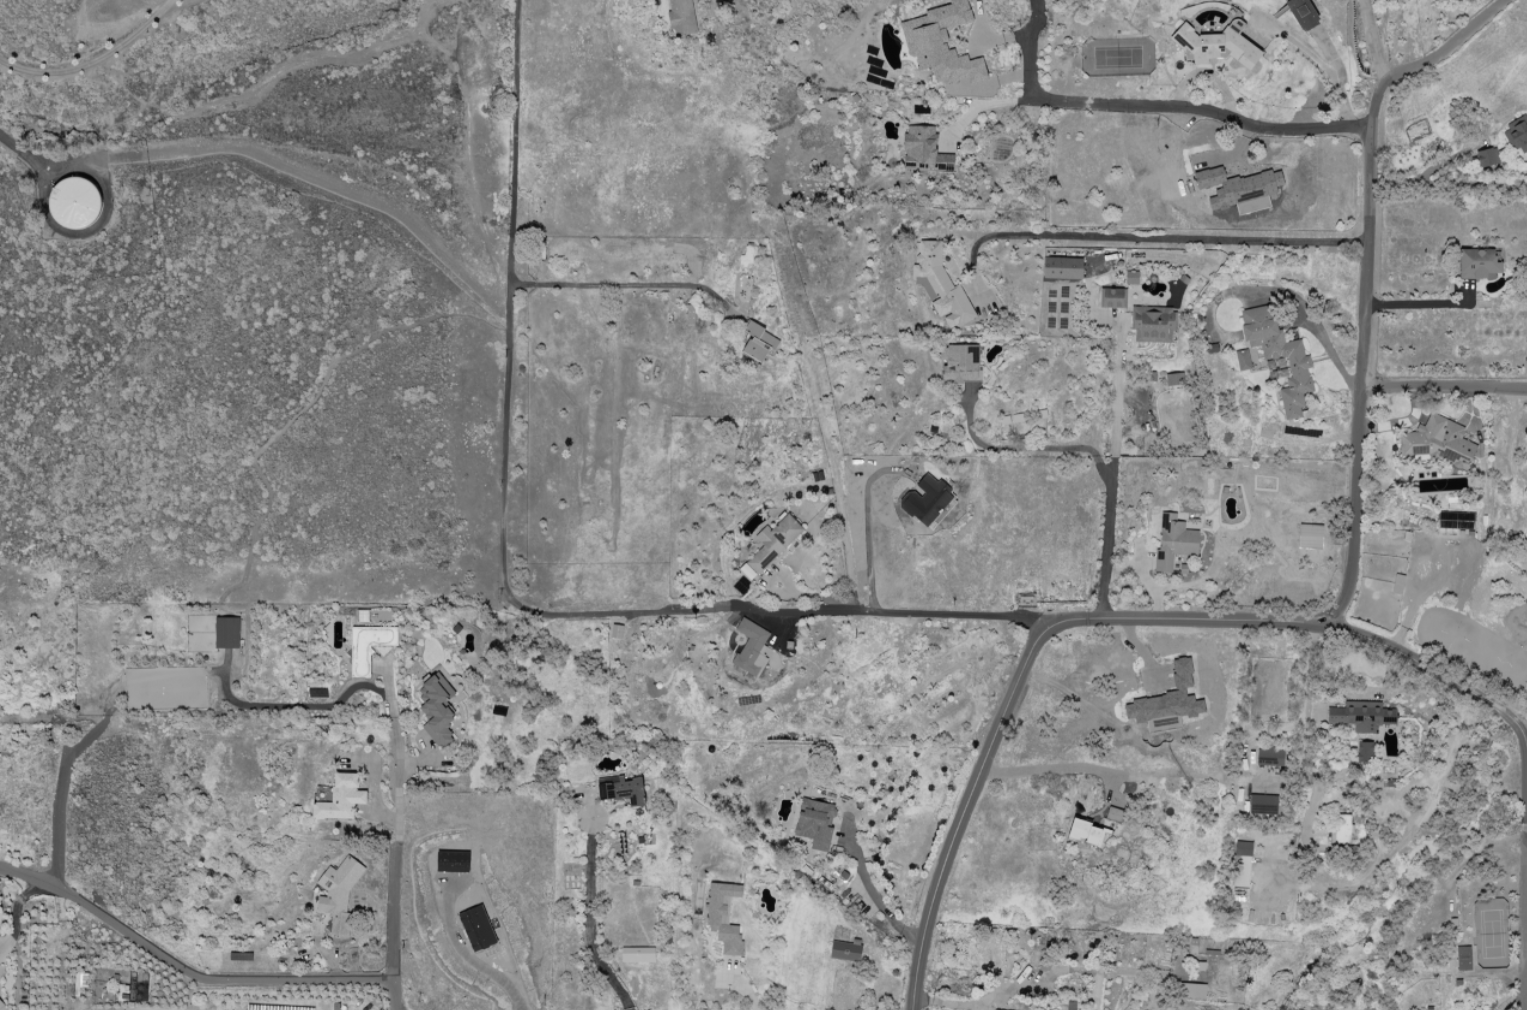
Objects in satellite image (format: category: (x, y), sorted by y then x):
building: (1301, 13)
building: (680, 16)
road: (1368, 28)
road: (1293, 40)
building: (941, 44)
building: (1215, 44)
road: (1426, 55)
road: (96, 62)
road: (1380, 66)
road: (1203, 71)
road: (266, 78)
road: (513, 93)
road: (1340, 97)
road: (1175, 100)
road: (987, 103)
road: (1153, 105)
road: (1231, 111)
building: (1517, 134)
building: (923, 149)
road: (24, 151)
road: (1229, 154)
building: (1486, 157)
road: (300, 172)
road: (1447, 181)
building: (1235, 186)
building: (74, 203)
road: (1193, 240)
building: (1478, 263)
building: (1062, 267)
building: (1130, 277)
road: (618, 283)
building: (939, 285)
building: (1112, 297)
road: (1423, 303)
building: (1152, 323)
building: (757, 342)
road: (1328, 348)
building: (1278, 355)
building: (1244, 360)
building: (960, 363)
road: (1358, 382)
road: (1442, 388)
road: (507, 394)
road: (1115, 400)
building: (1435, 440)
road: (1097, 457)
building: (927, 500)
building: (1454, 520)
road: (863, 528)
building: (1309, 536)
building: (1173, 541)
building: (770, 545)
road: (778, 610)
road: (1305, 619)
building: (615, 631)
building: (226, 632)
building: (368, 646)
building: (750, 647)
road: (1369, 692)
building: (1166, 702)
building: (436, 708)
building: (1361, 715)
road: (1524, 729)
road: (1307, 731)
building: (1364, 751)
building: (1269, 756)
road: (1151, 775)
building: (620, 789)
road: (59, 796)
building: (340, 798)
building: (1262, 804)
building: (1113, 813)
road: (965, 814)
building: (814, 822)
road: (400, 823)
road: (585, 823)
building: (1340, 829)
building: (1084, 832)
building: (452, 861)
building: (1240, 864)
building: (338, 893)
road: (872, 898)
building: (723, 916)
road: (587, 922)
building: (477, 928)
building: (844, 950)
building: (637, 954)
road: (466, 956)
building: (1462, 958)
road: (198, 974)
building: (1192, 990)
road: (1513, 999)
building: (0, 1004)

